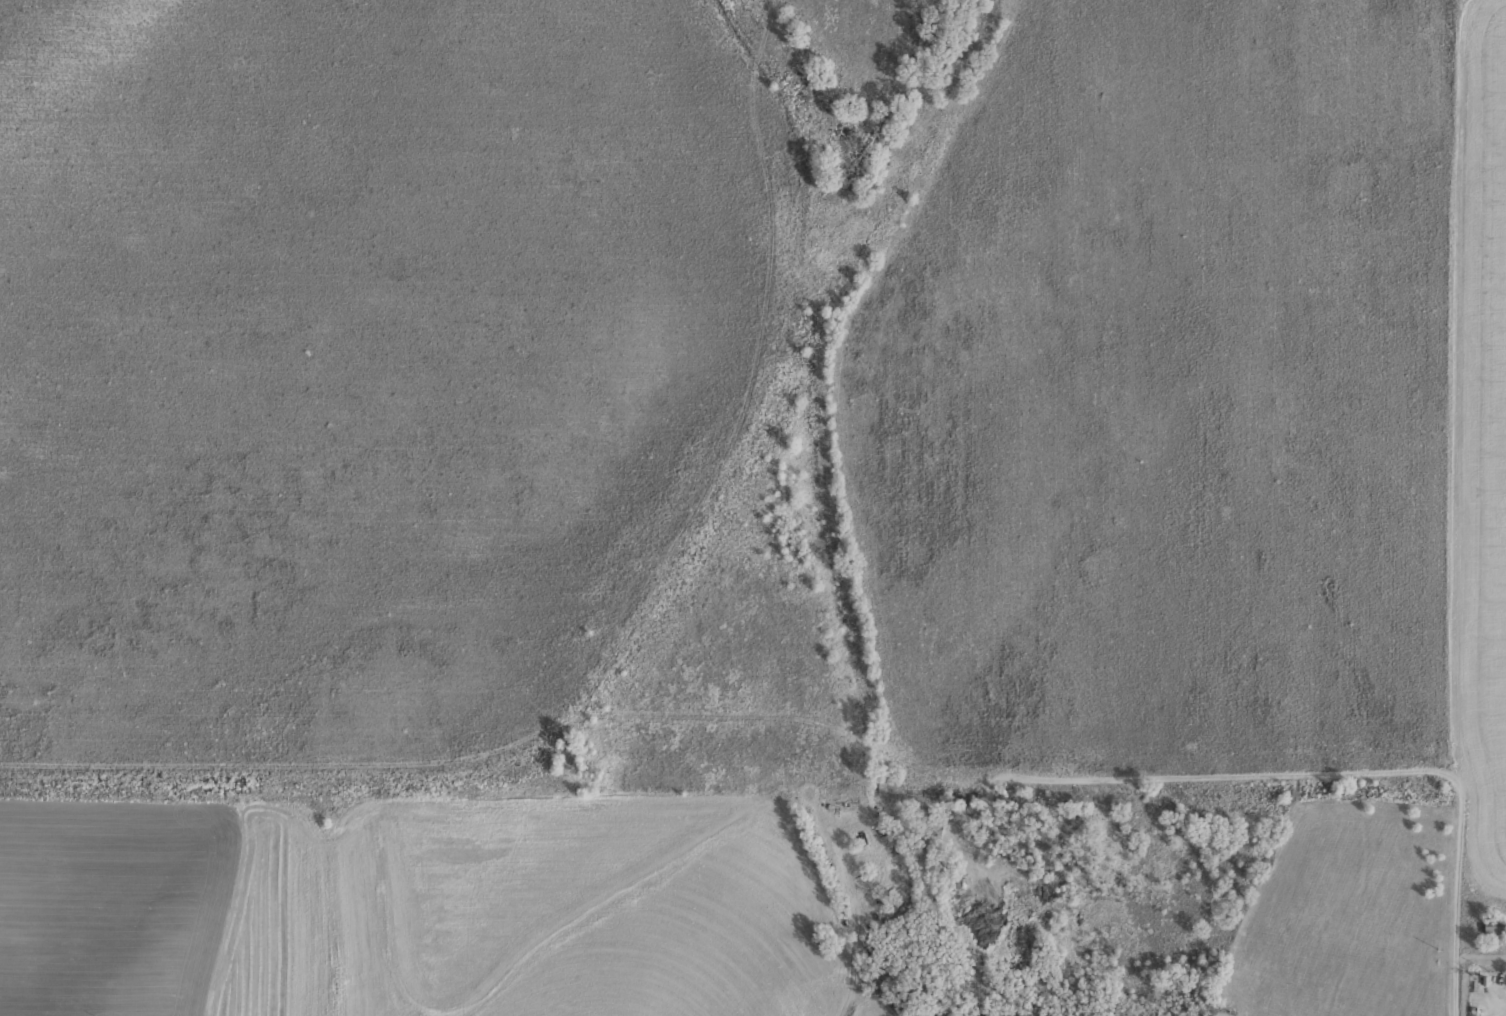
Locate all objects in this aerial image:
road: (1300, 775)
building: (1493, 924)
building: (1505, 982)

